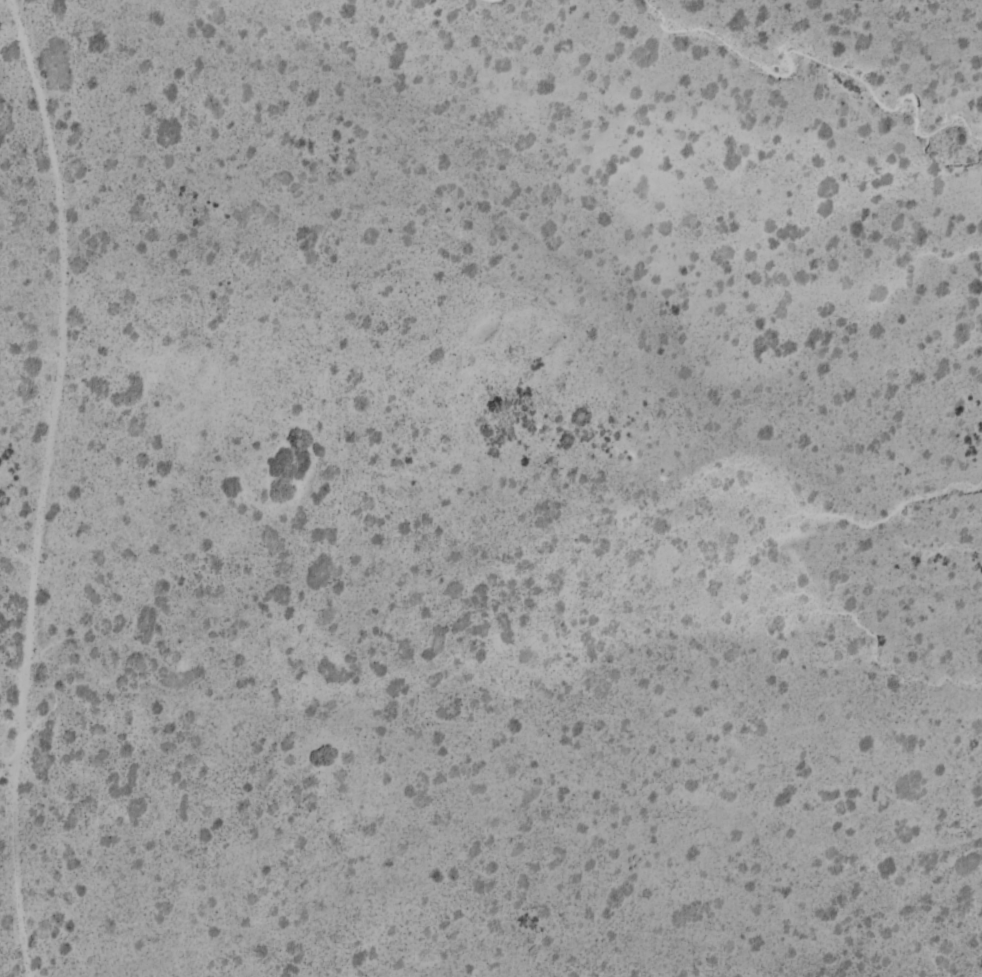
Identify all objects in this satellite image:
road: (52, 475)
road: (26, 968)

